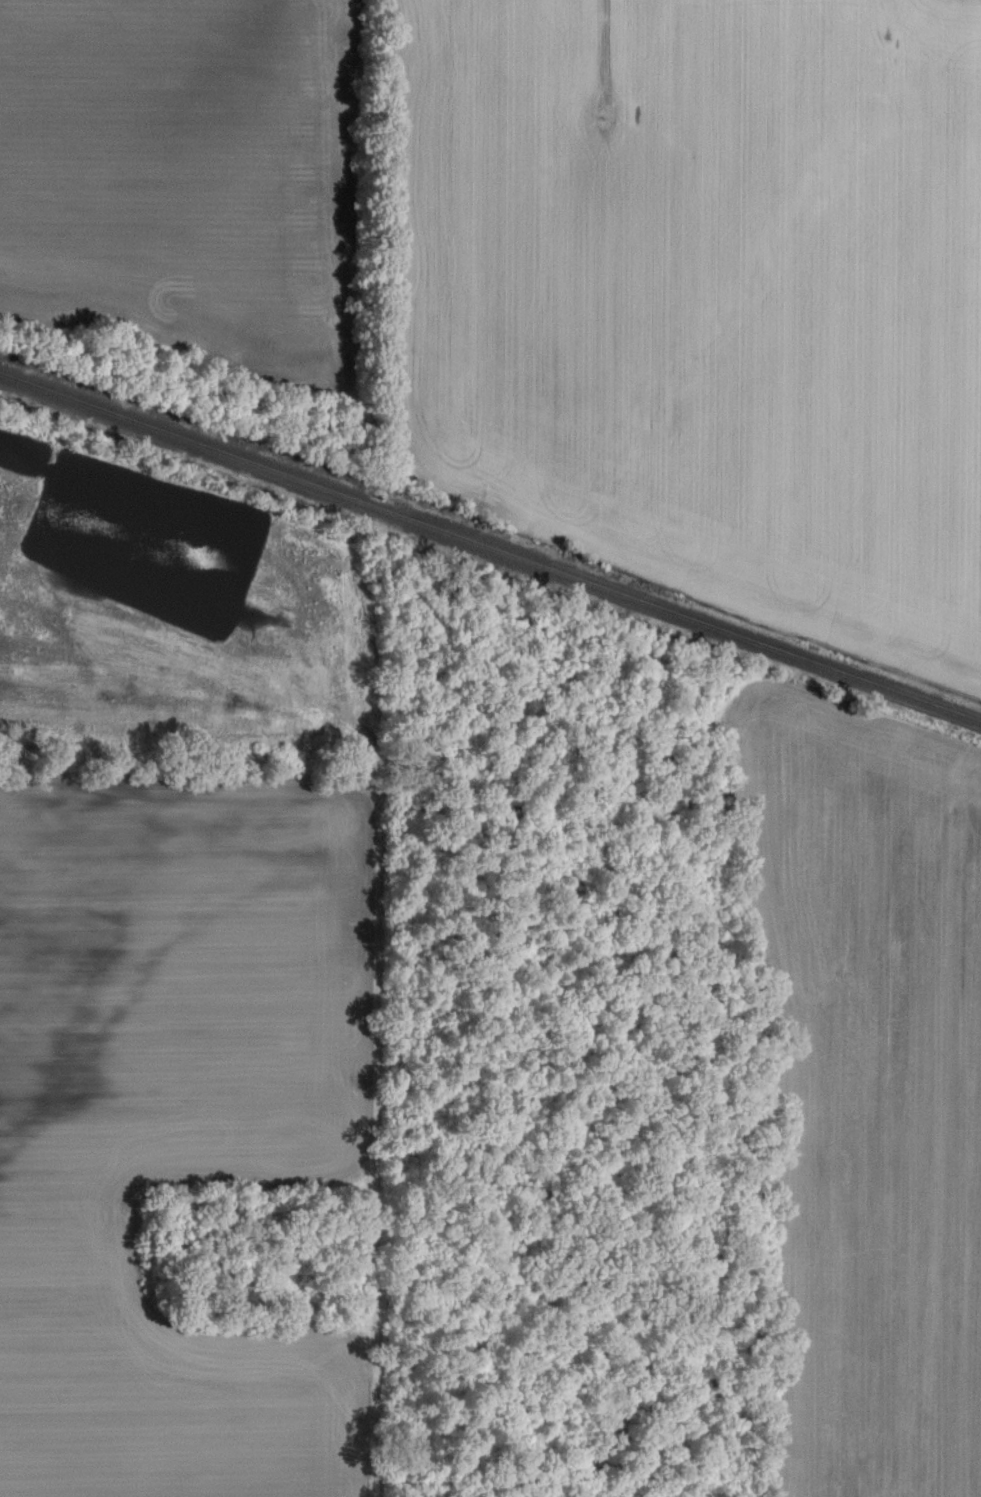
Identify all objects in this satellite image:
road: (608, 60)
railway: (490, 546)

